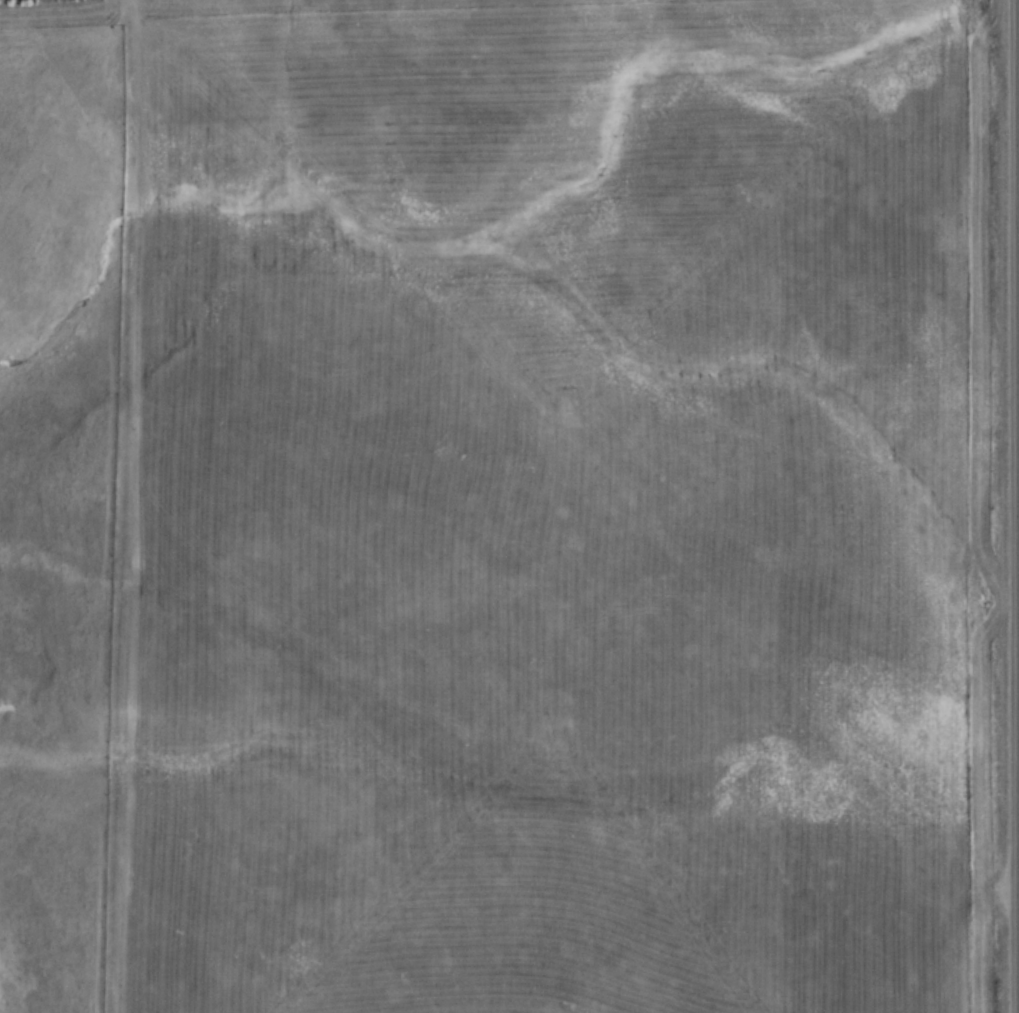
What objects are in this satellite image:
road: (1016, 506)

